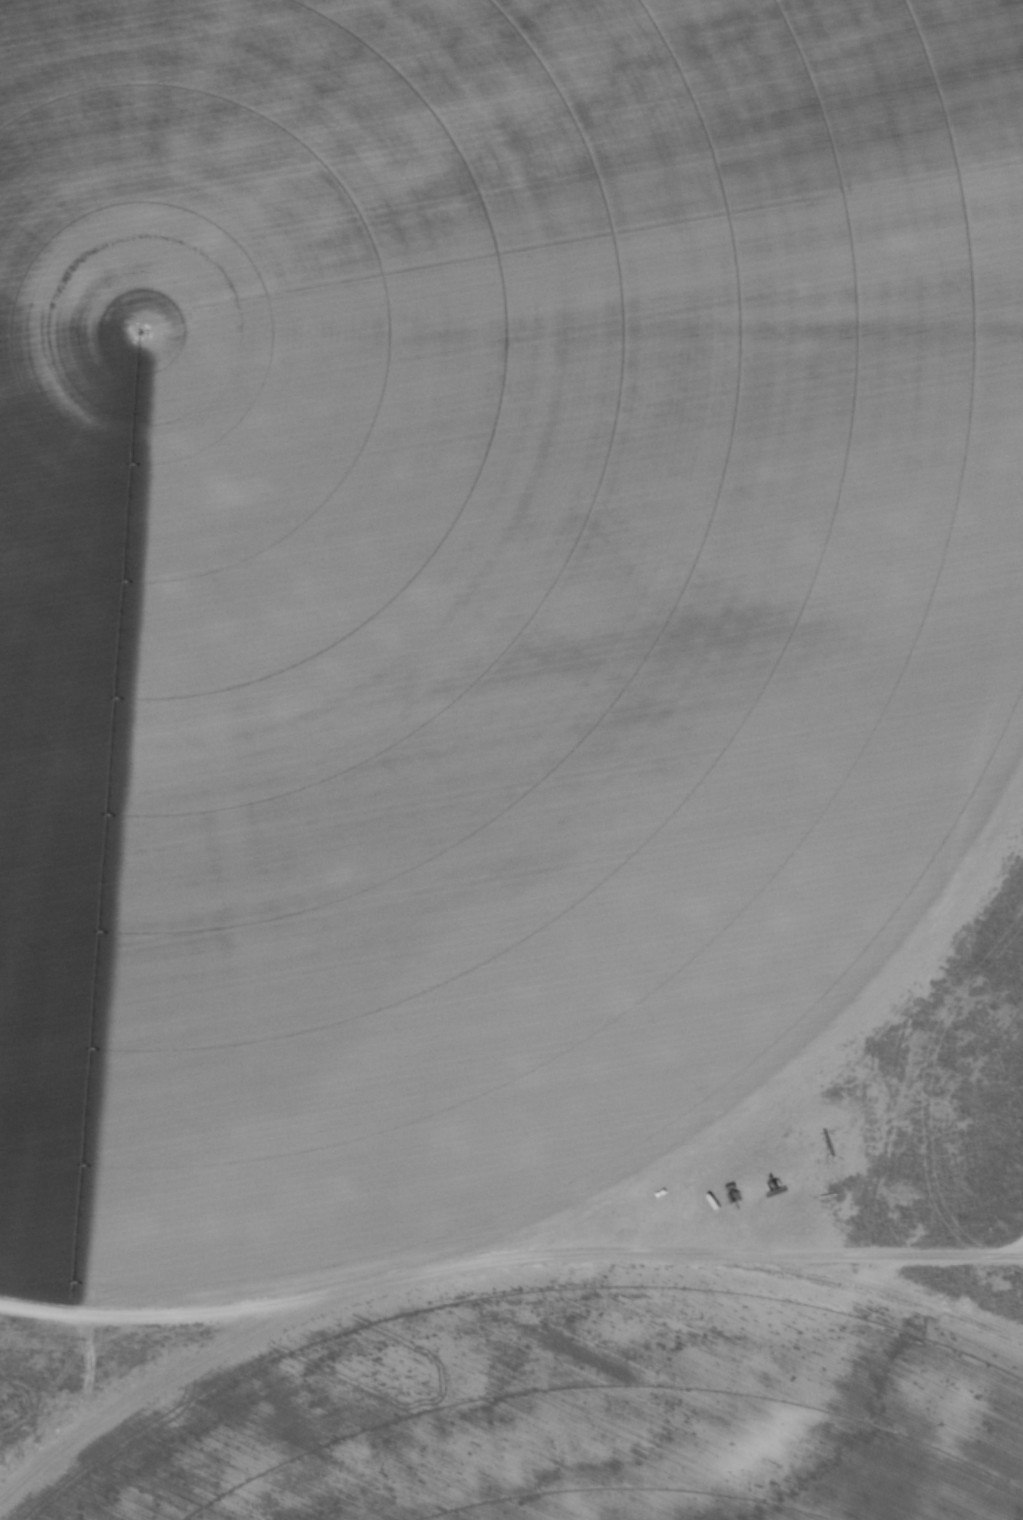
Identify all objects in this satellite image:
crop: (471, 574)

